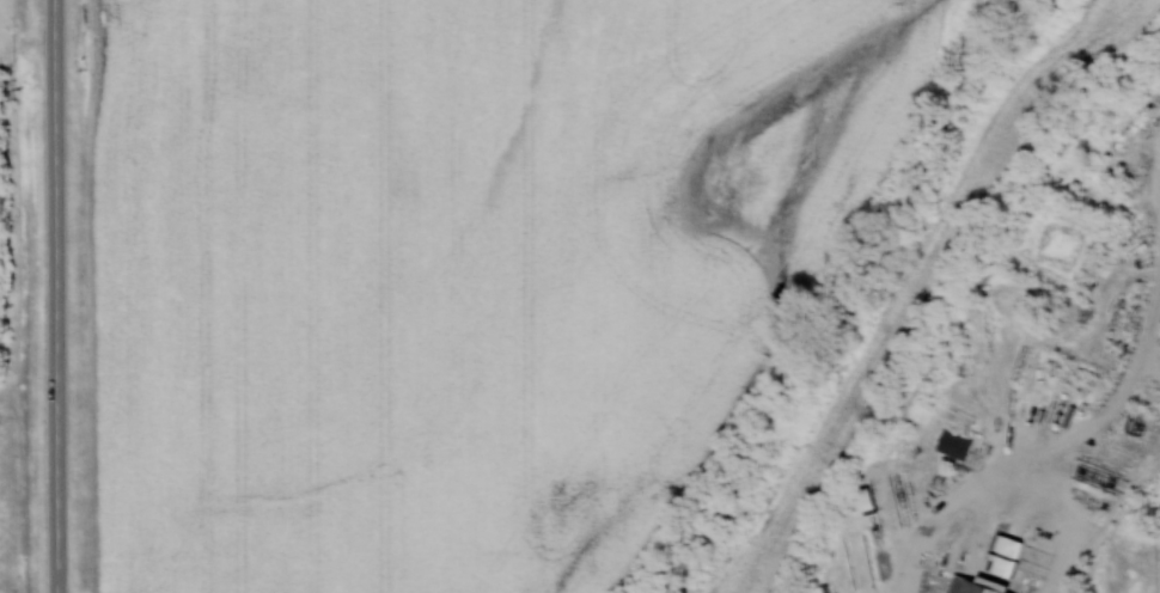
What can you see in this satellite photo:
road: (56, 295)
building: (885, 506)
building: (1036, 554)
building: (973, 585)

